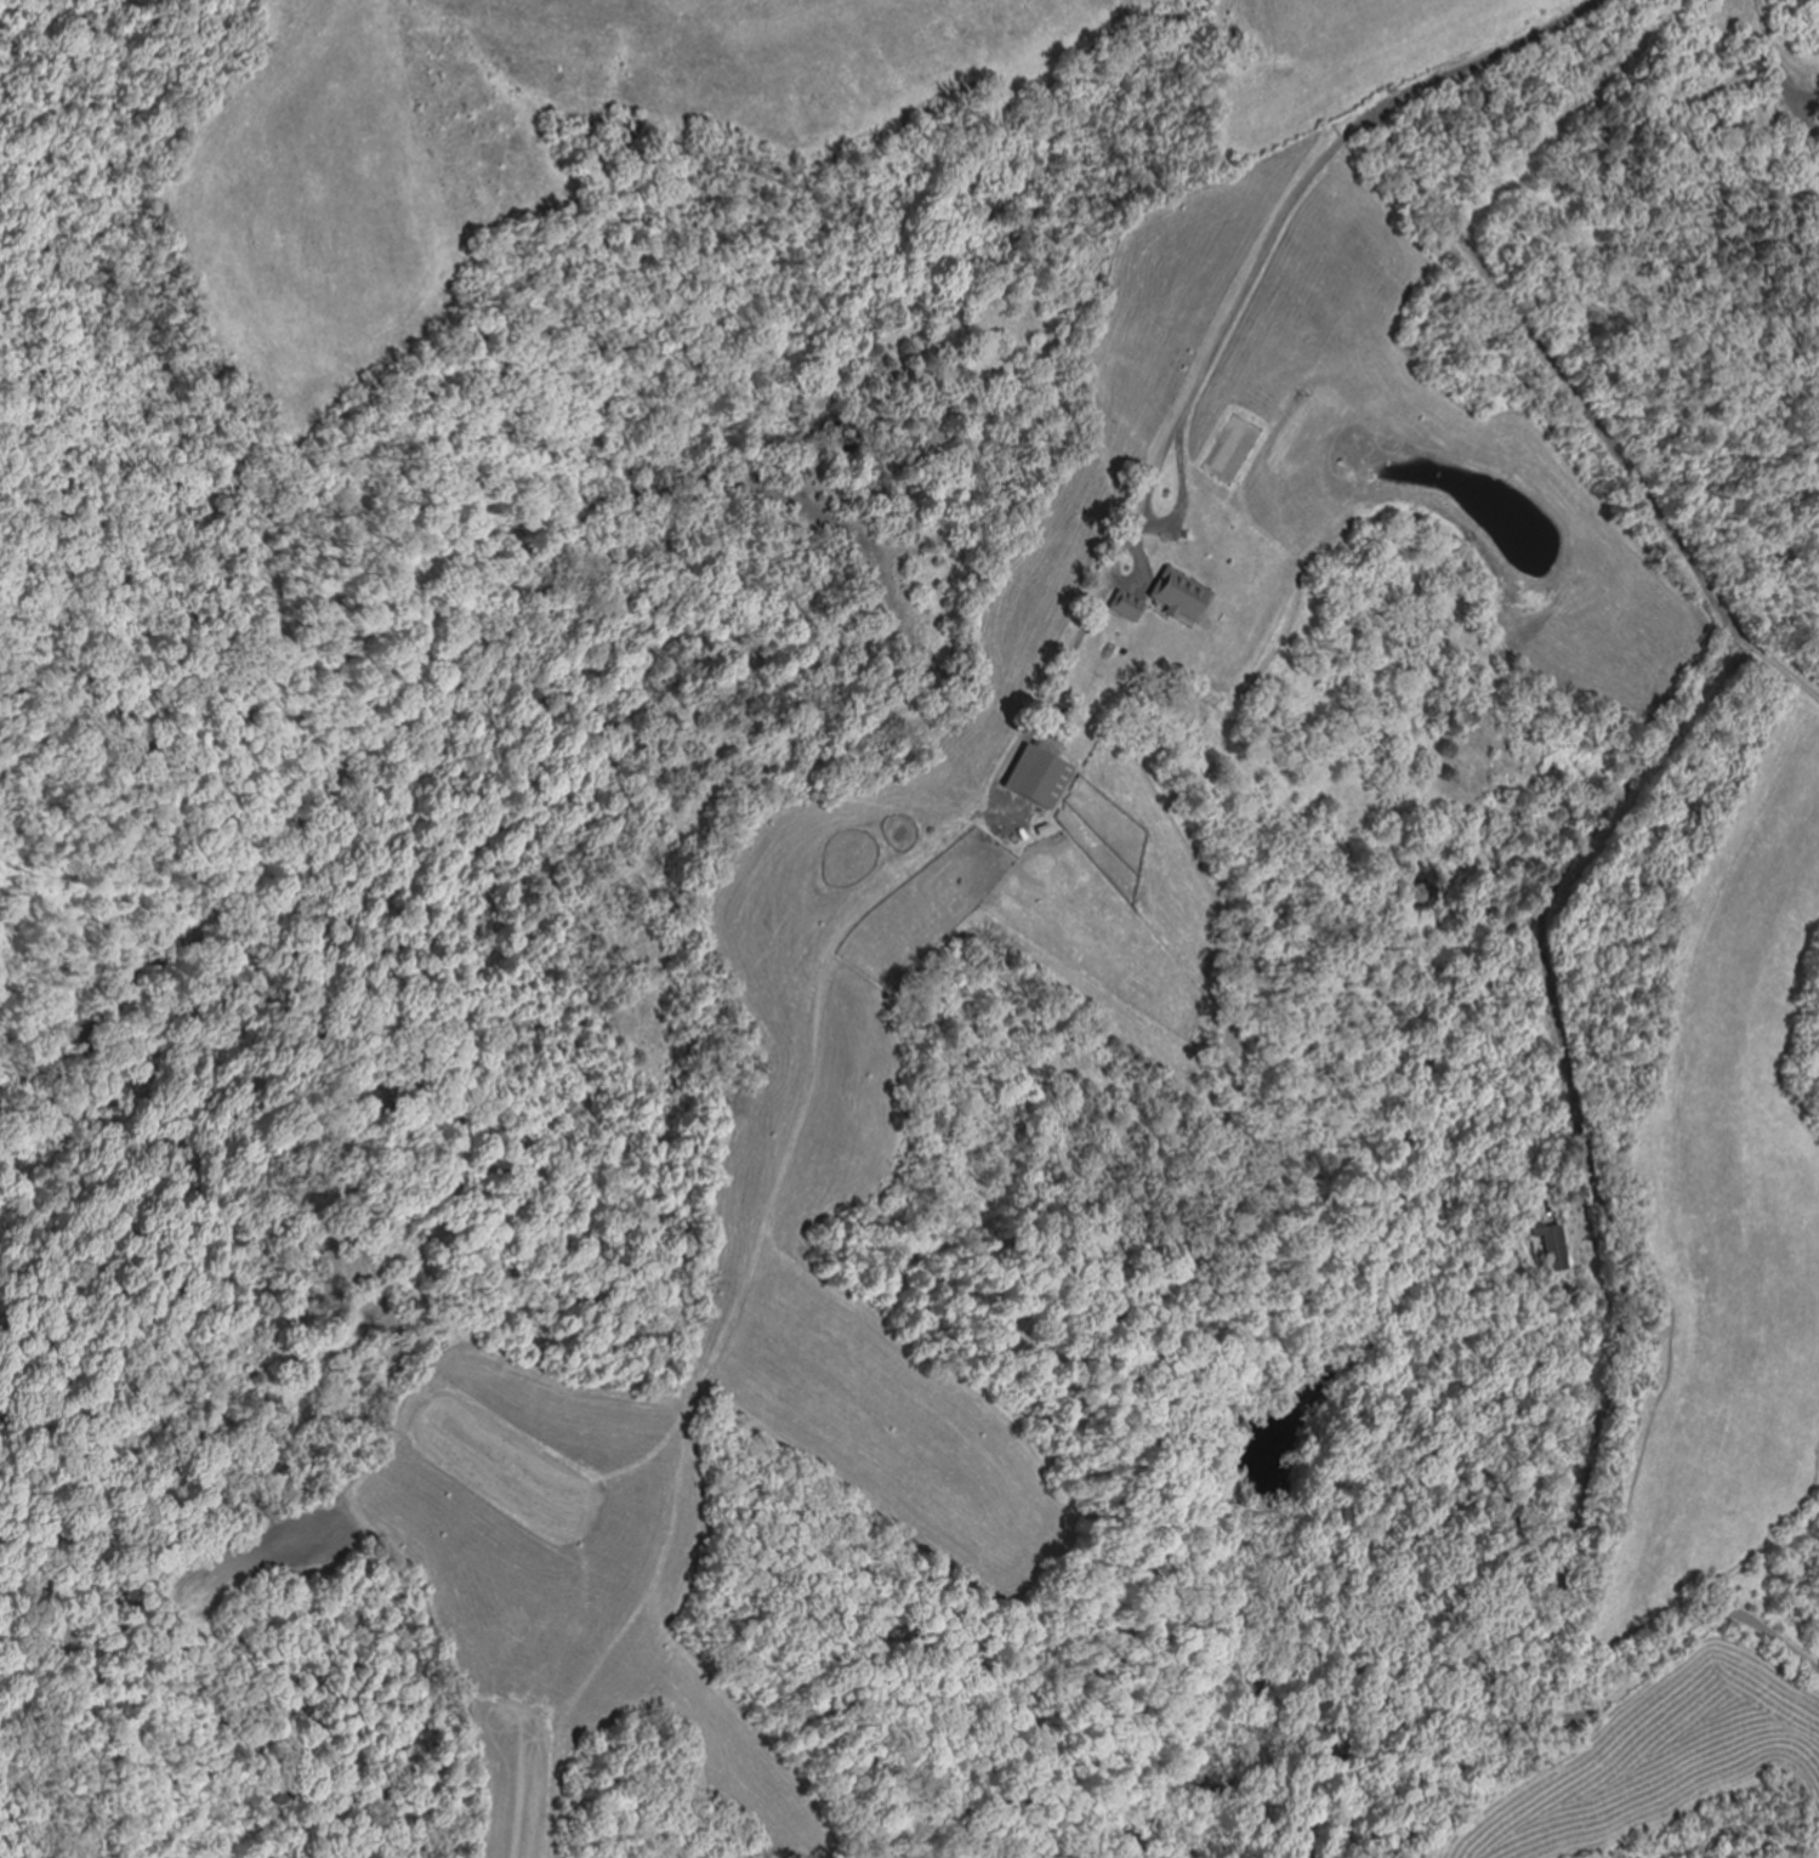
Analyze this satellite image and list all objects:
road: (1497, 45)
road: (1394, 97)
road: (1246, 312)
building: (1155, 606)
road: (1775, 676)
building: (1045, 778)
road: (1548, 965)
building: (1552, 1245)

